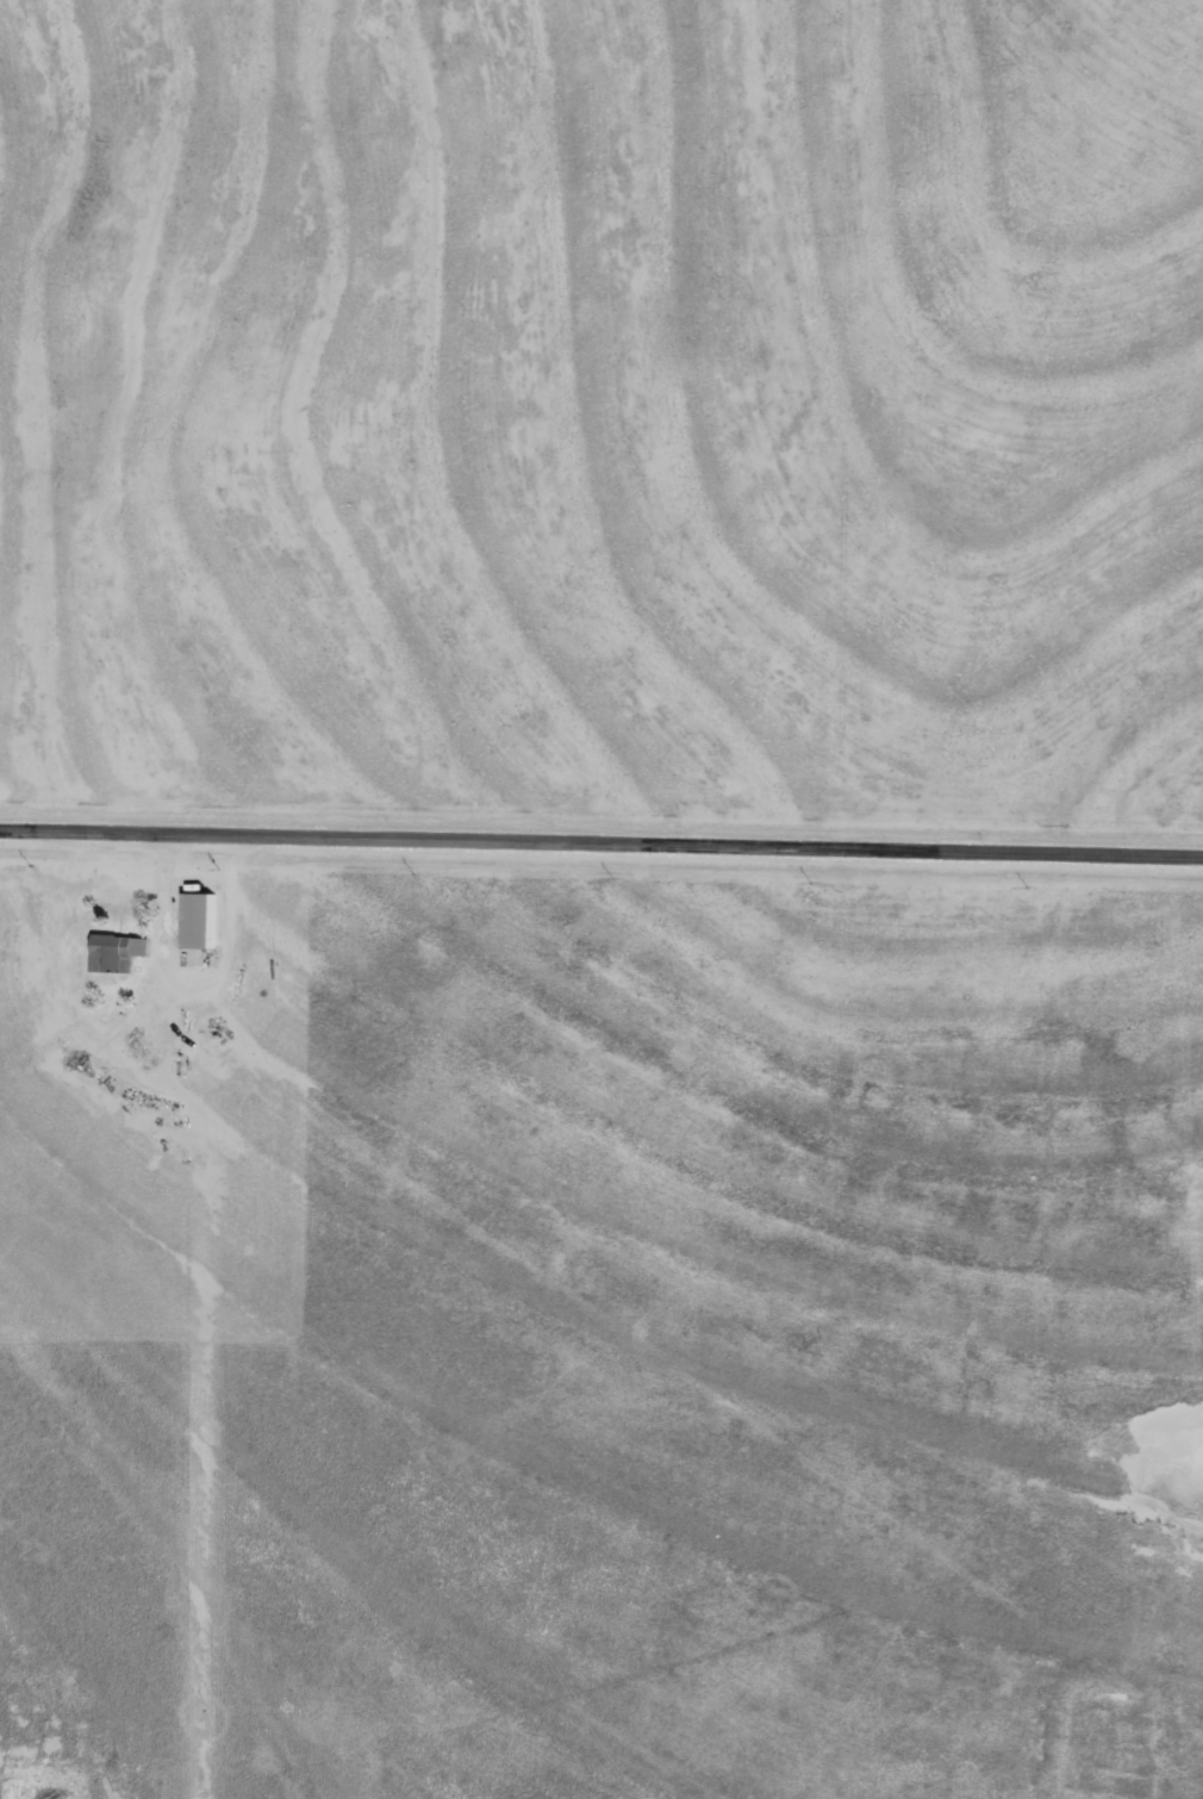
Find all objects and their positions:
road: (601, 839)
building: (198, 920)
building: (117, 951)

